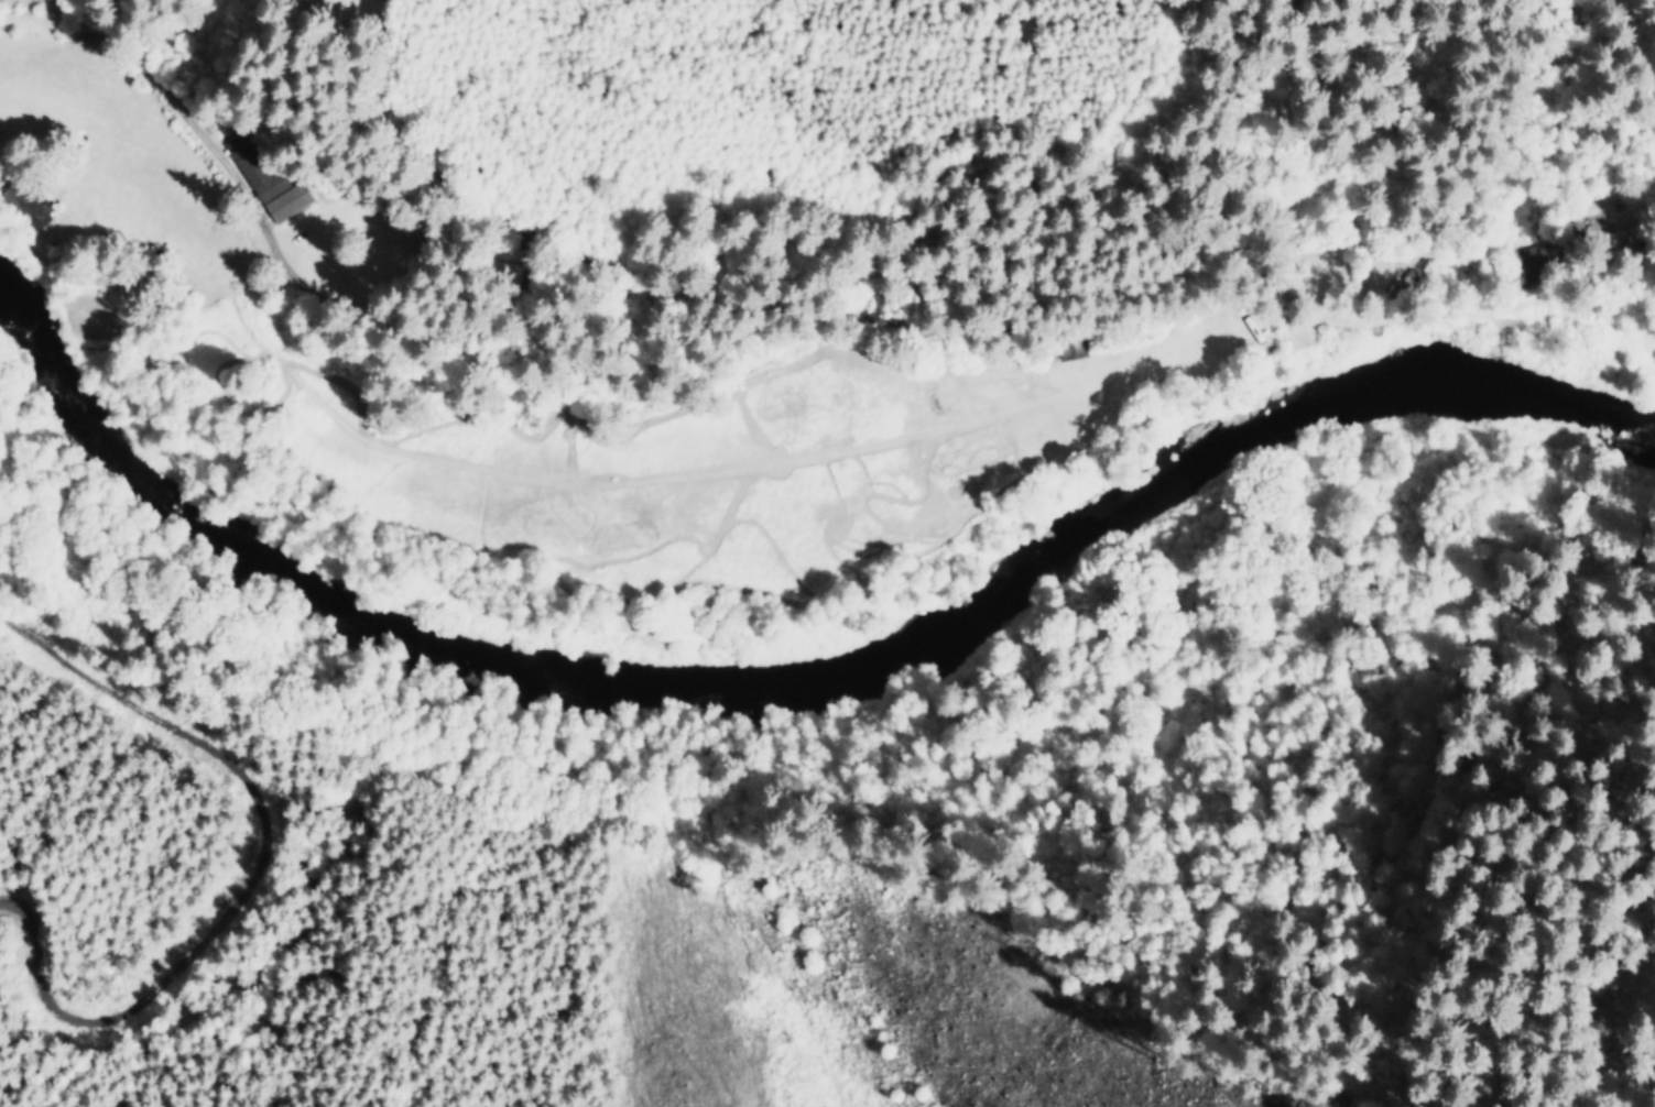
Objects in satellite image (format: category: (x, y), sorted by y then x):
building: (247, 167)
building: (285, 202)
building: (24, 206)
building: (1533, 254)
road: (394, 341)
river: (796, 679)

